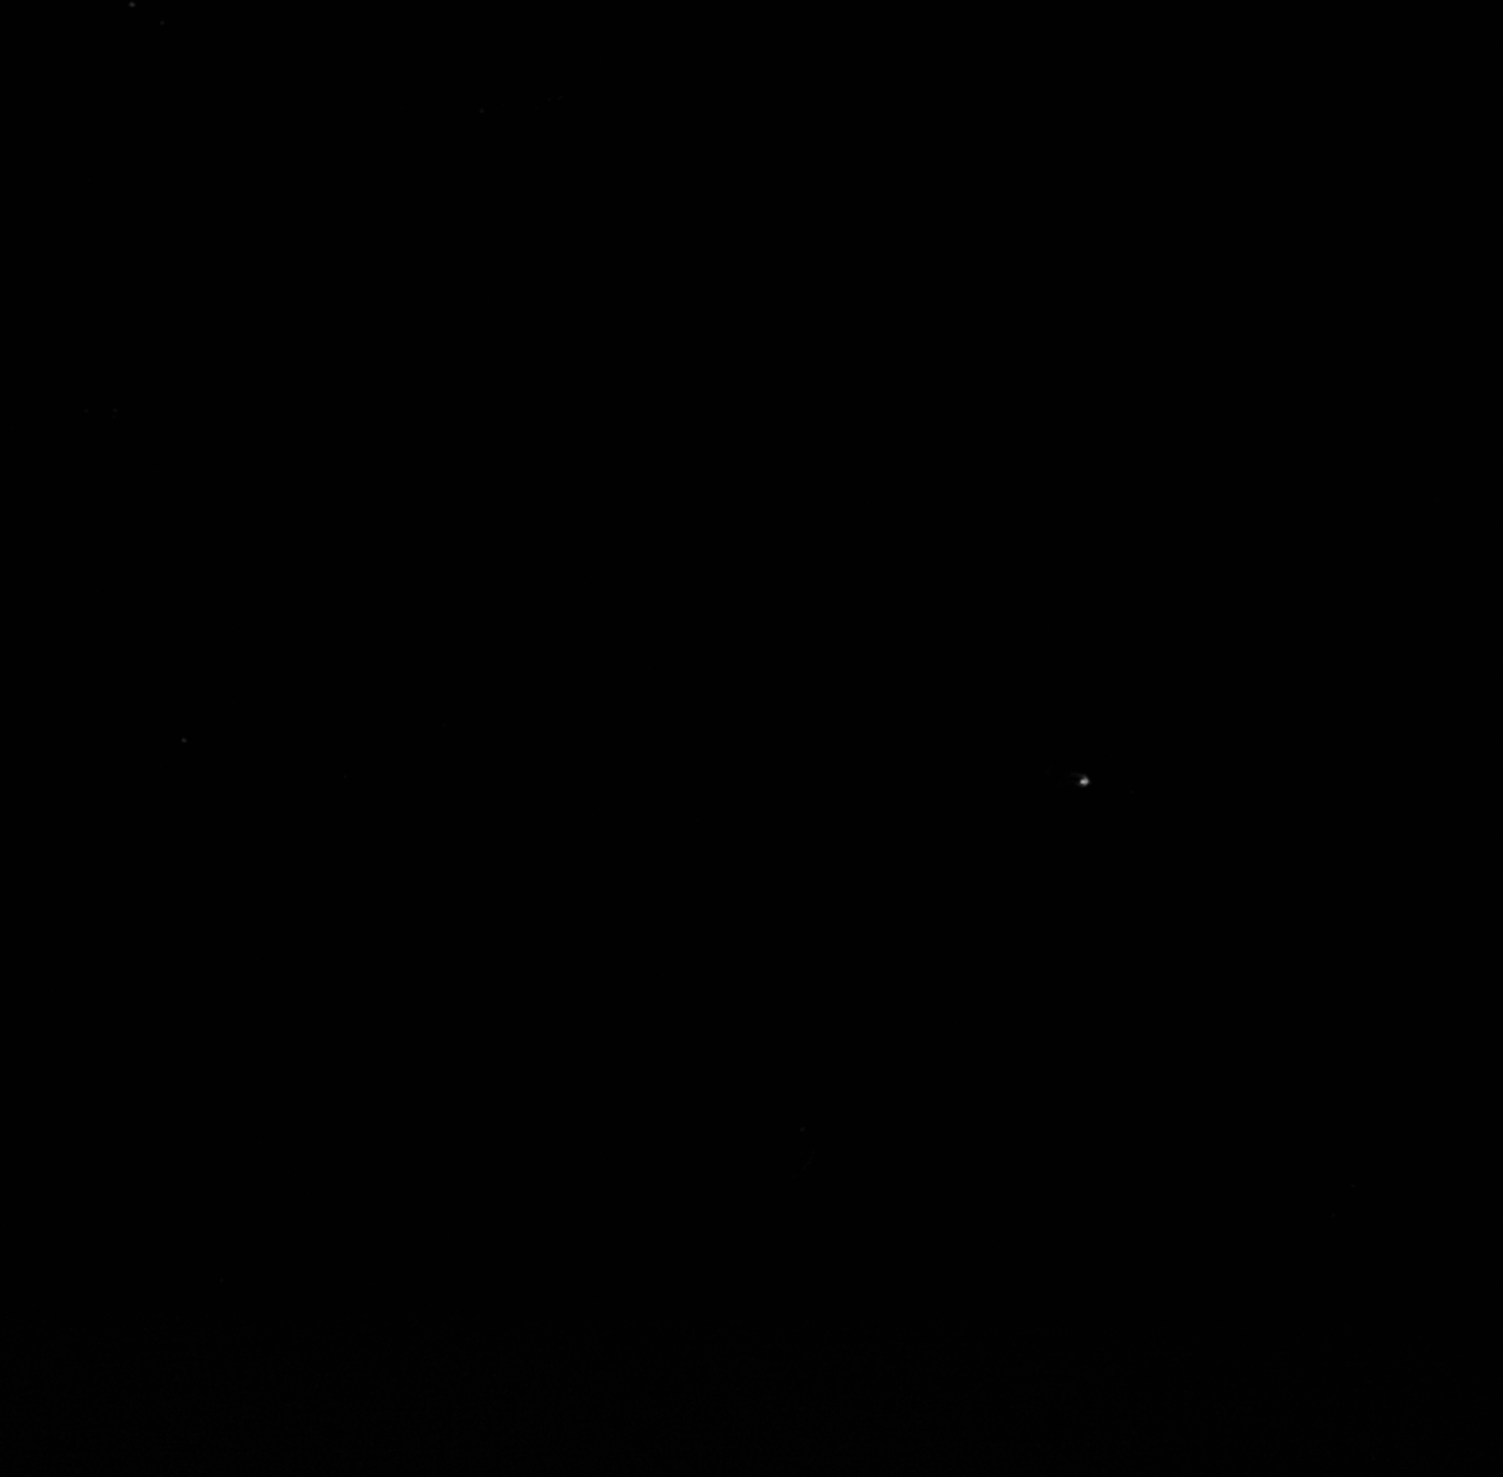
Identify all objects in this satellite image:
river: (748, 1392)
river: (699, 1437)

